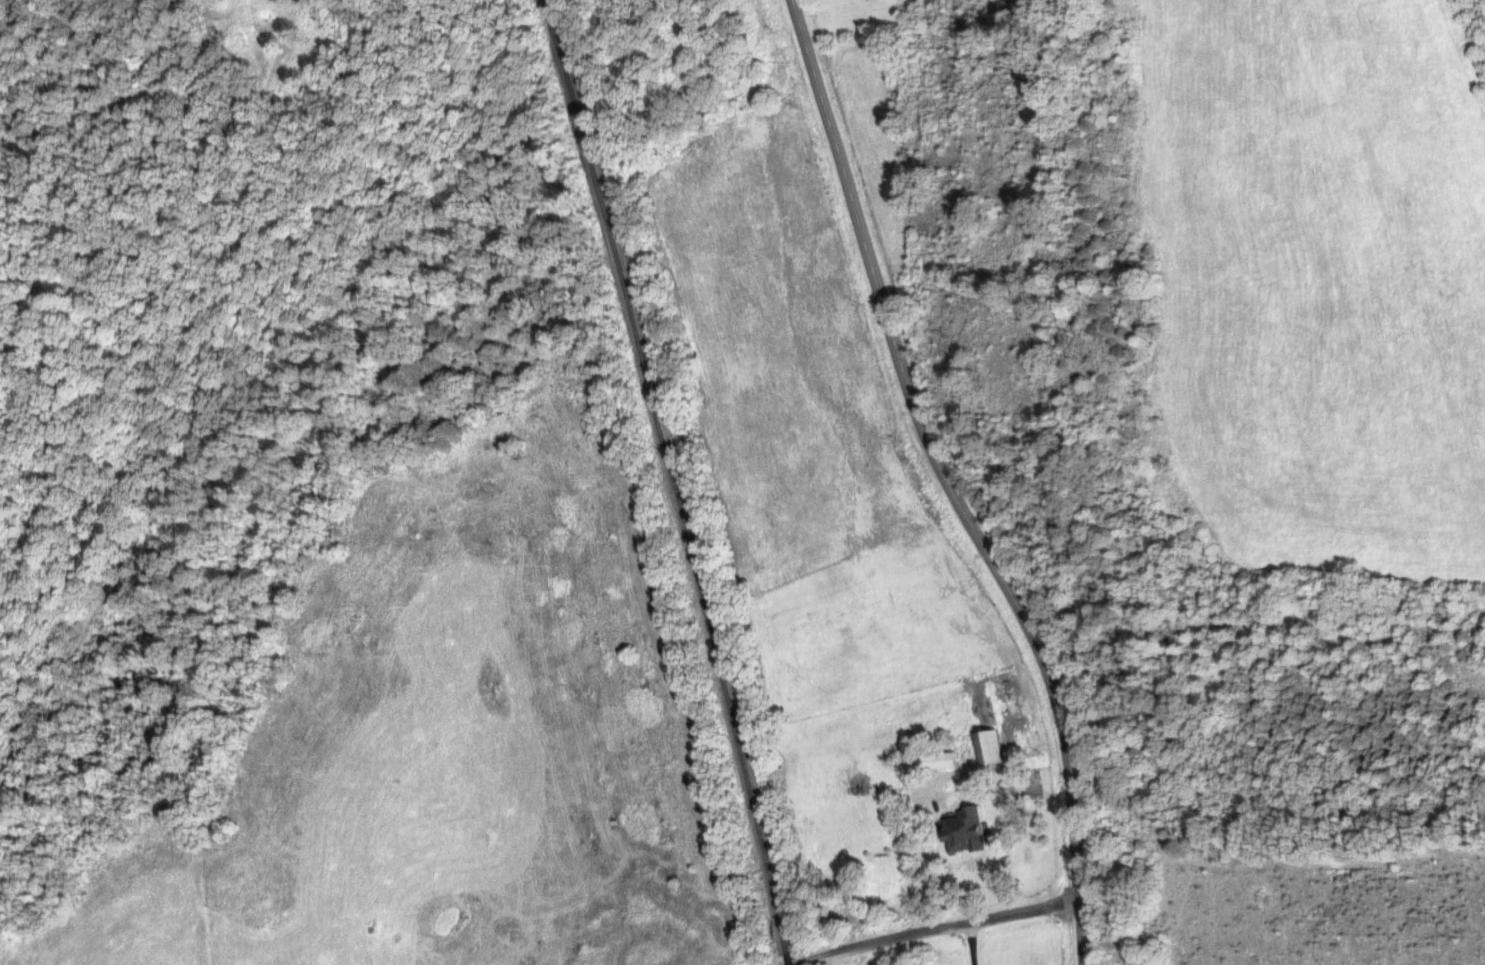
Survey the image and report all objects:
railway: (669, 471)
road: (953, 484)
building: (990, 748)
building: (944, 760)
road: (1031, 788)
building: (966, 793)
building: (968, 830)
road: (935, 926)
road: (973, 942)
railway: (790, 956)

